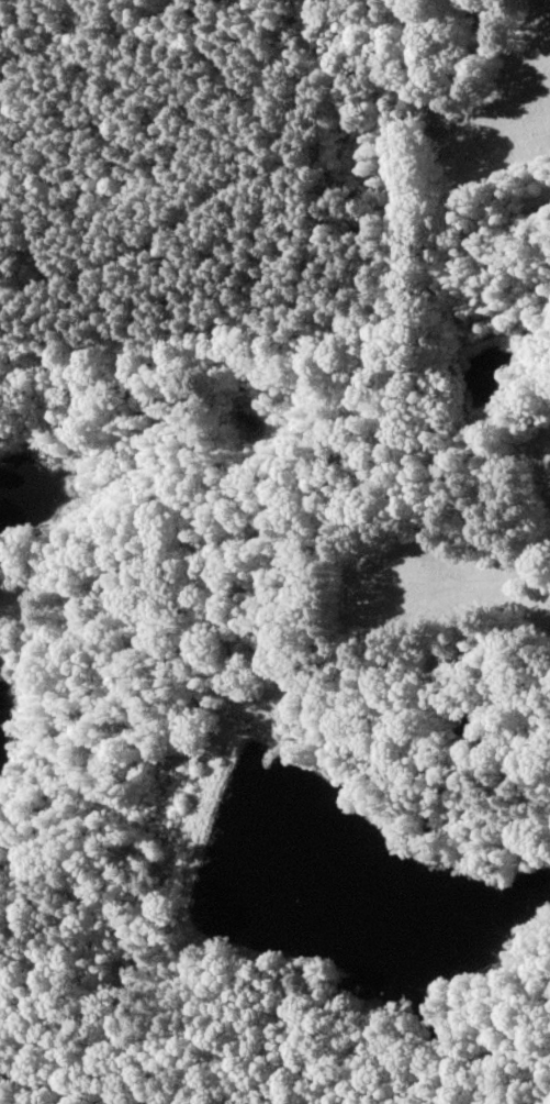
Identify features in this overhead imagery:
road: (155, 1079)

